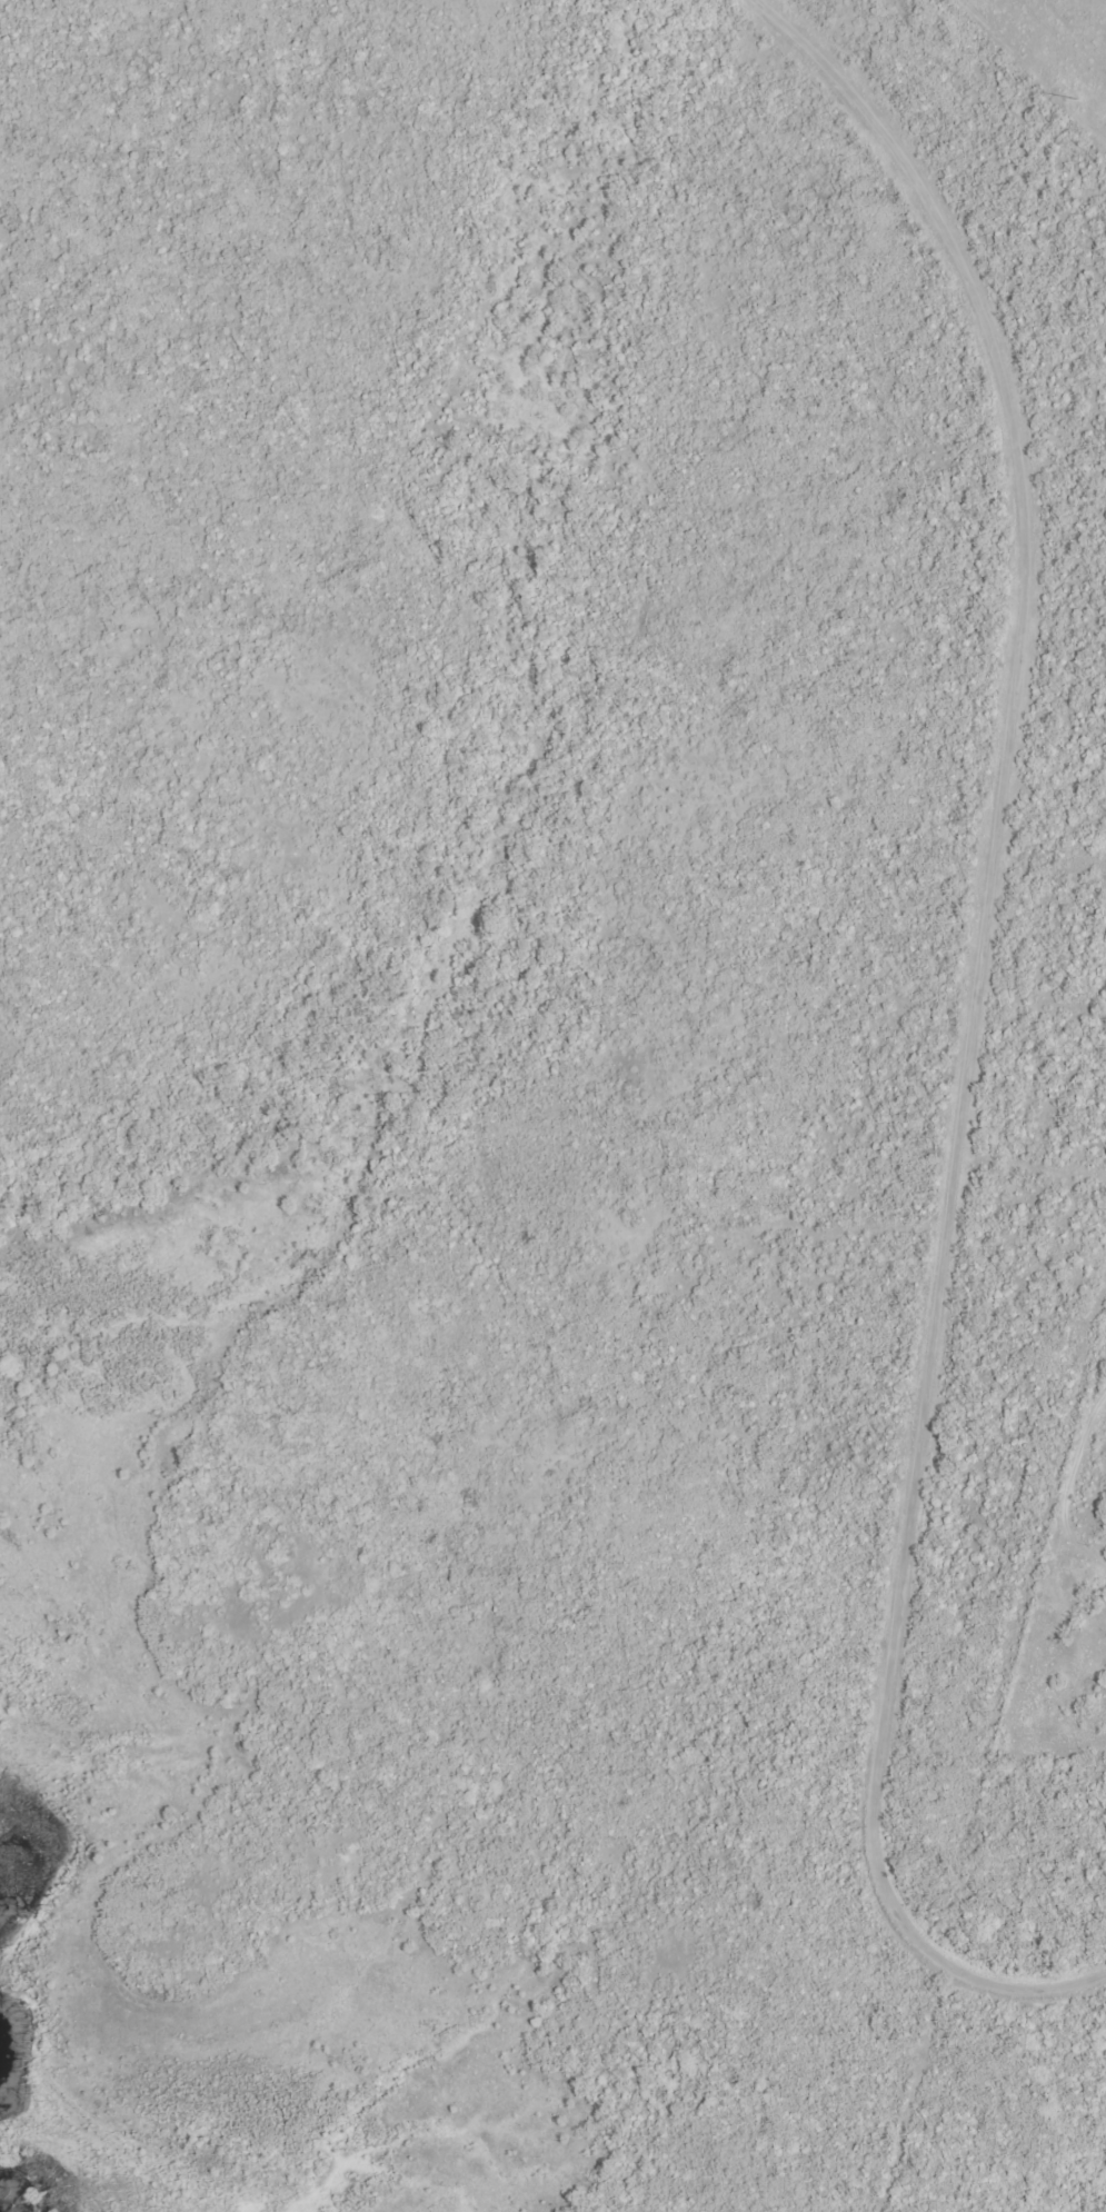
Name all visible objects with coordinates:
power tower: (1079, 100)
road: (966, 1040)

